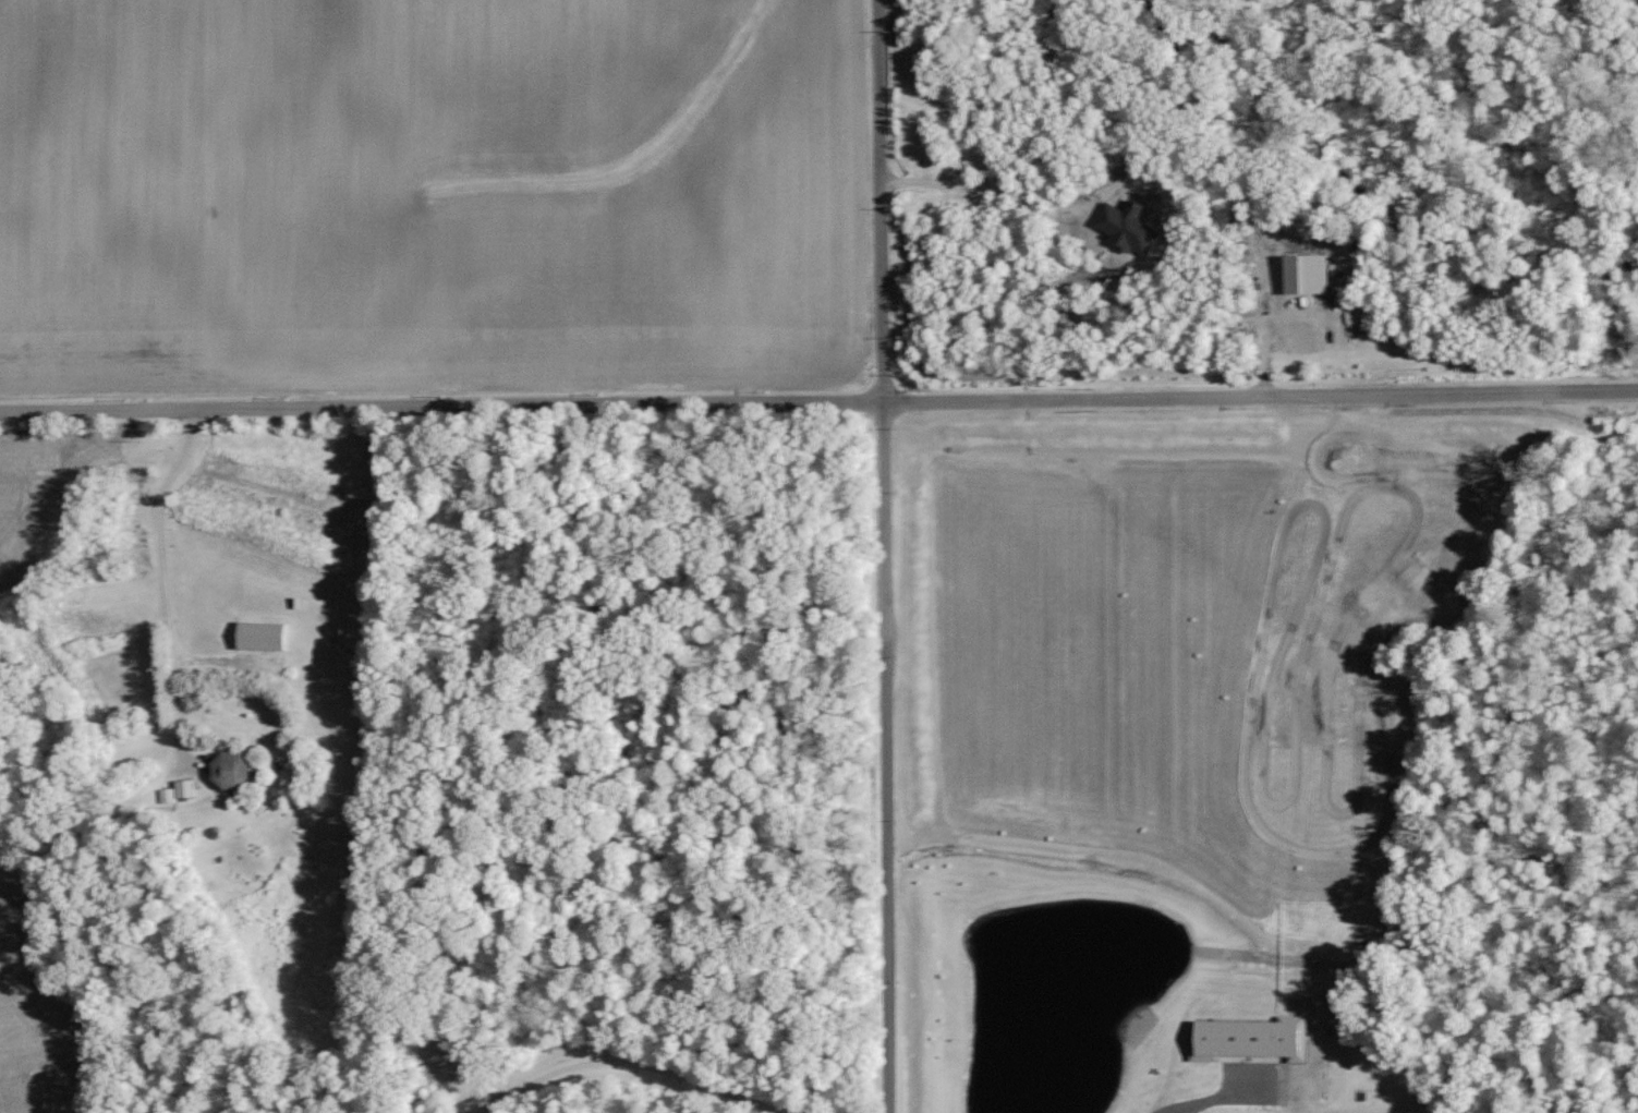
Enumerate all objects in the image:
road: (994, 191)
road: (818, 388)
road: (898, 556)
road: (167, 578)
building: (268, 636)
building: (236, 770)
building: (180, 791)
building: (1231, 1039)
road: (635, 1060)
building: (454, 1061)
road: (1184, 1085)

